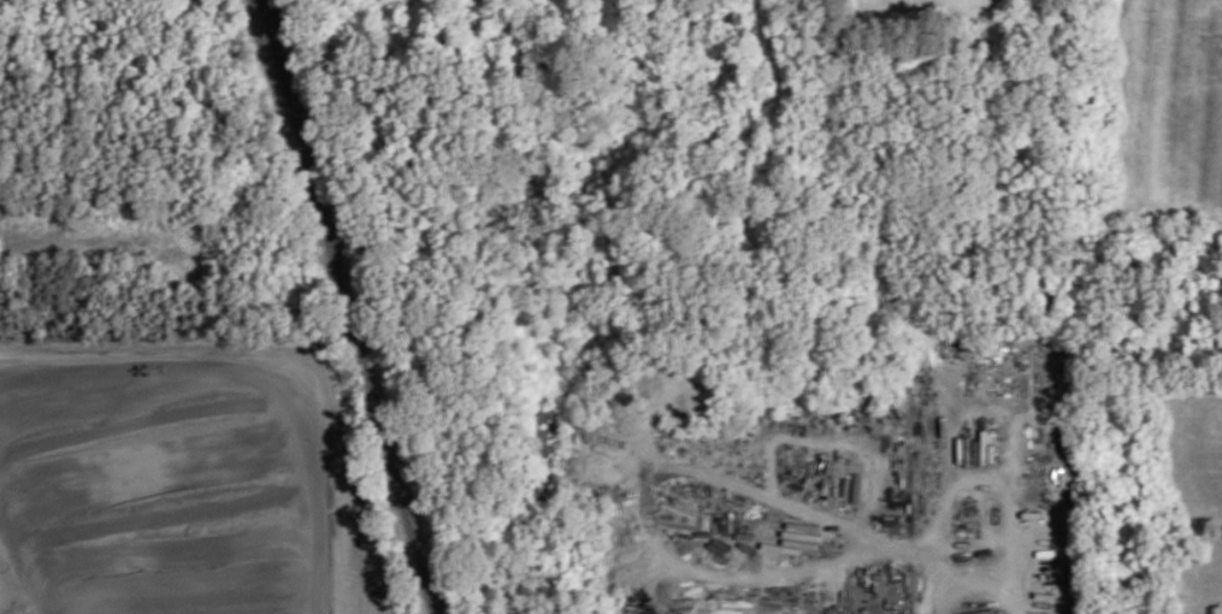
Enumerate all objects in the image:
railway: (341, 281)
road: (271, 368)
building: (123, 574)
railway: (427, 588)
building: (979, 612)

